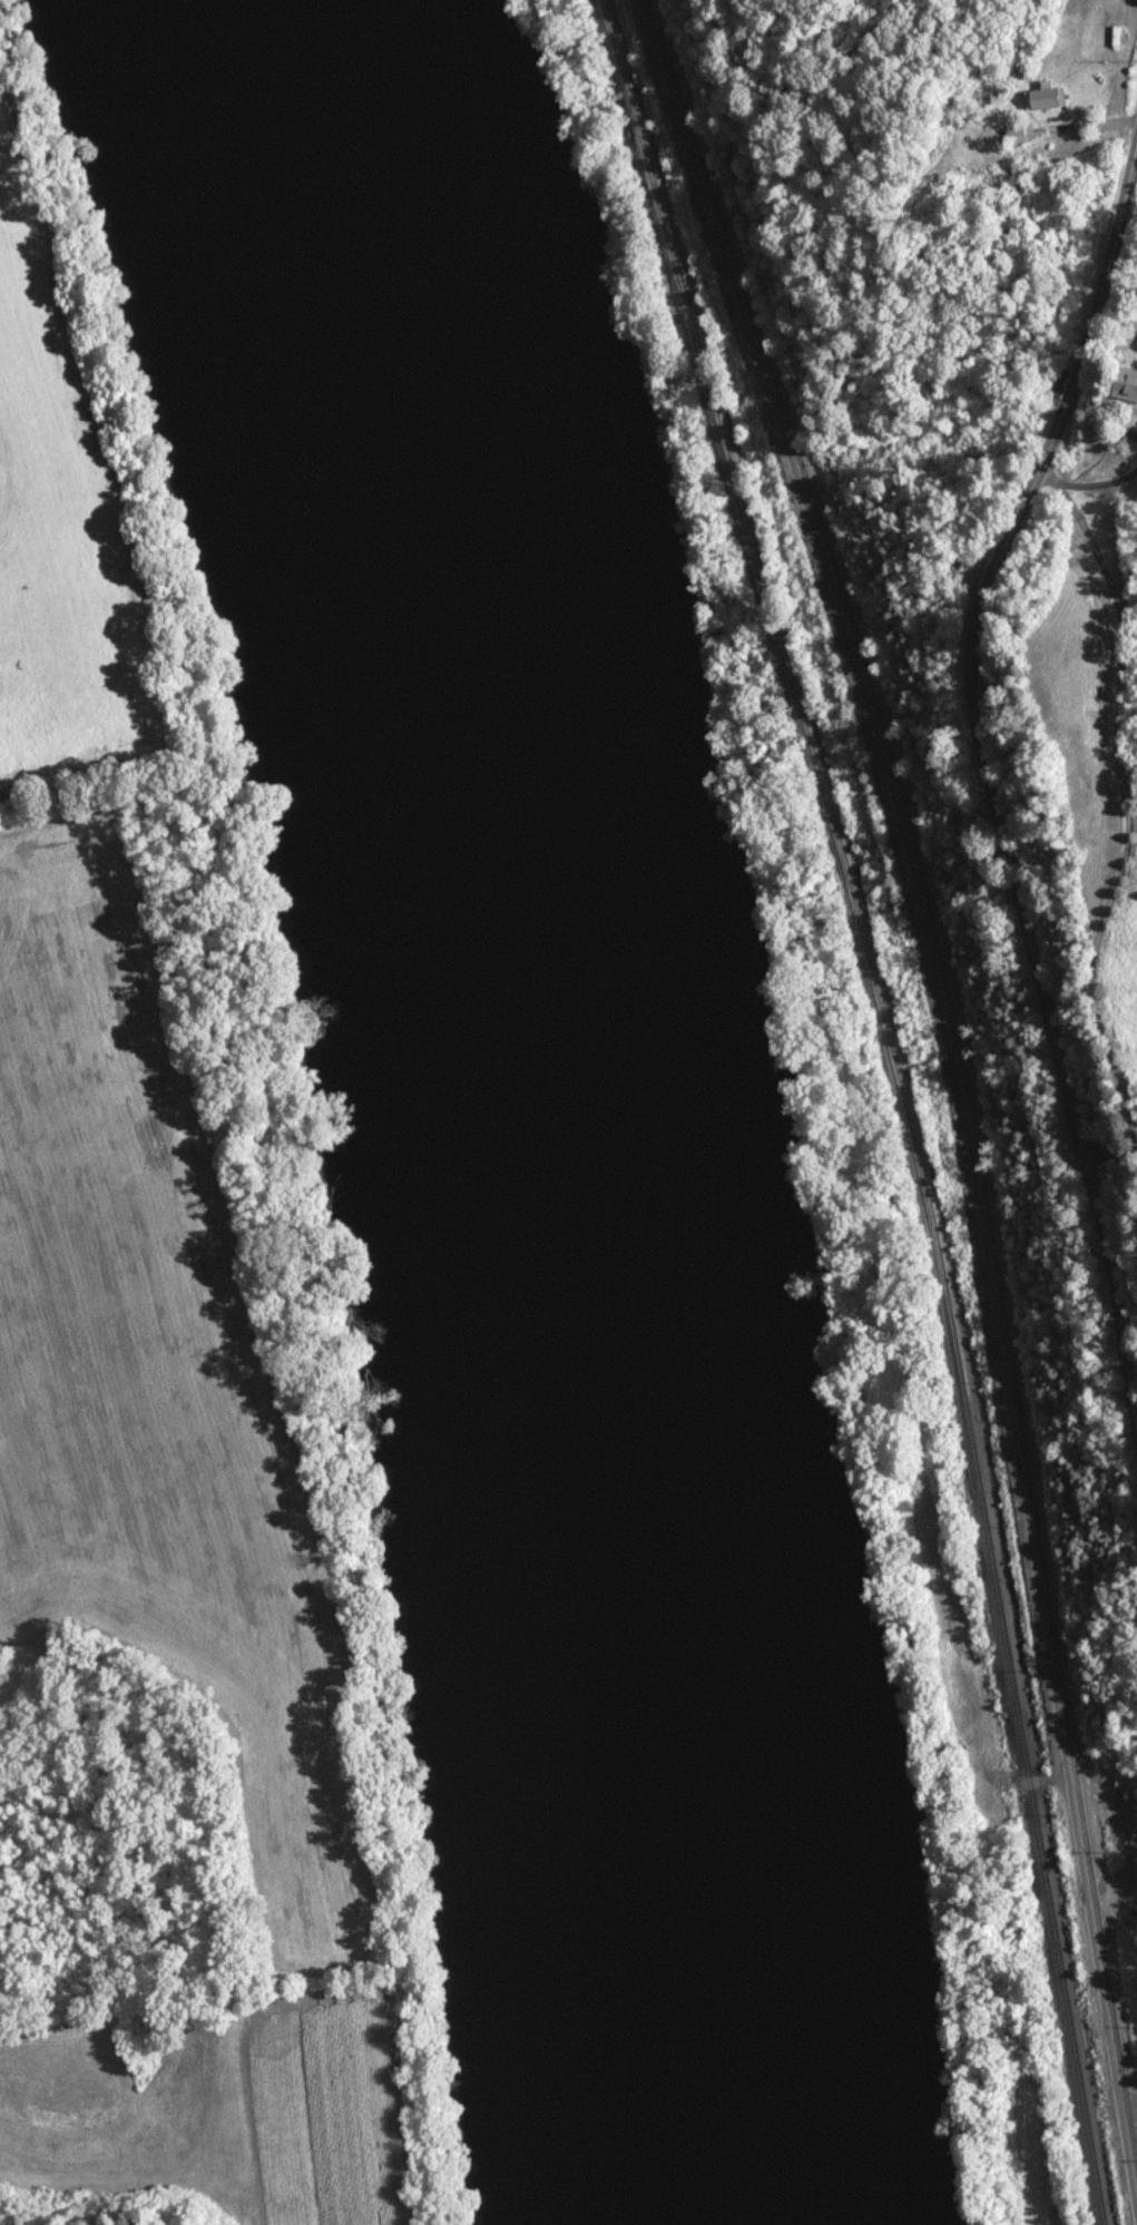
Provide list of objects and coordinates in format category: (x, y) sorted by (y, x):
road: (1085, 127)
building: (1121, 385)
road: (987, 782)
road: (1124, 800)
road: (962, 1069)
river: (532, 1100)
railway: (898, 1102)
road: (40, 1581)
road: (1134, 2130)

